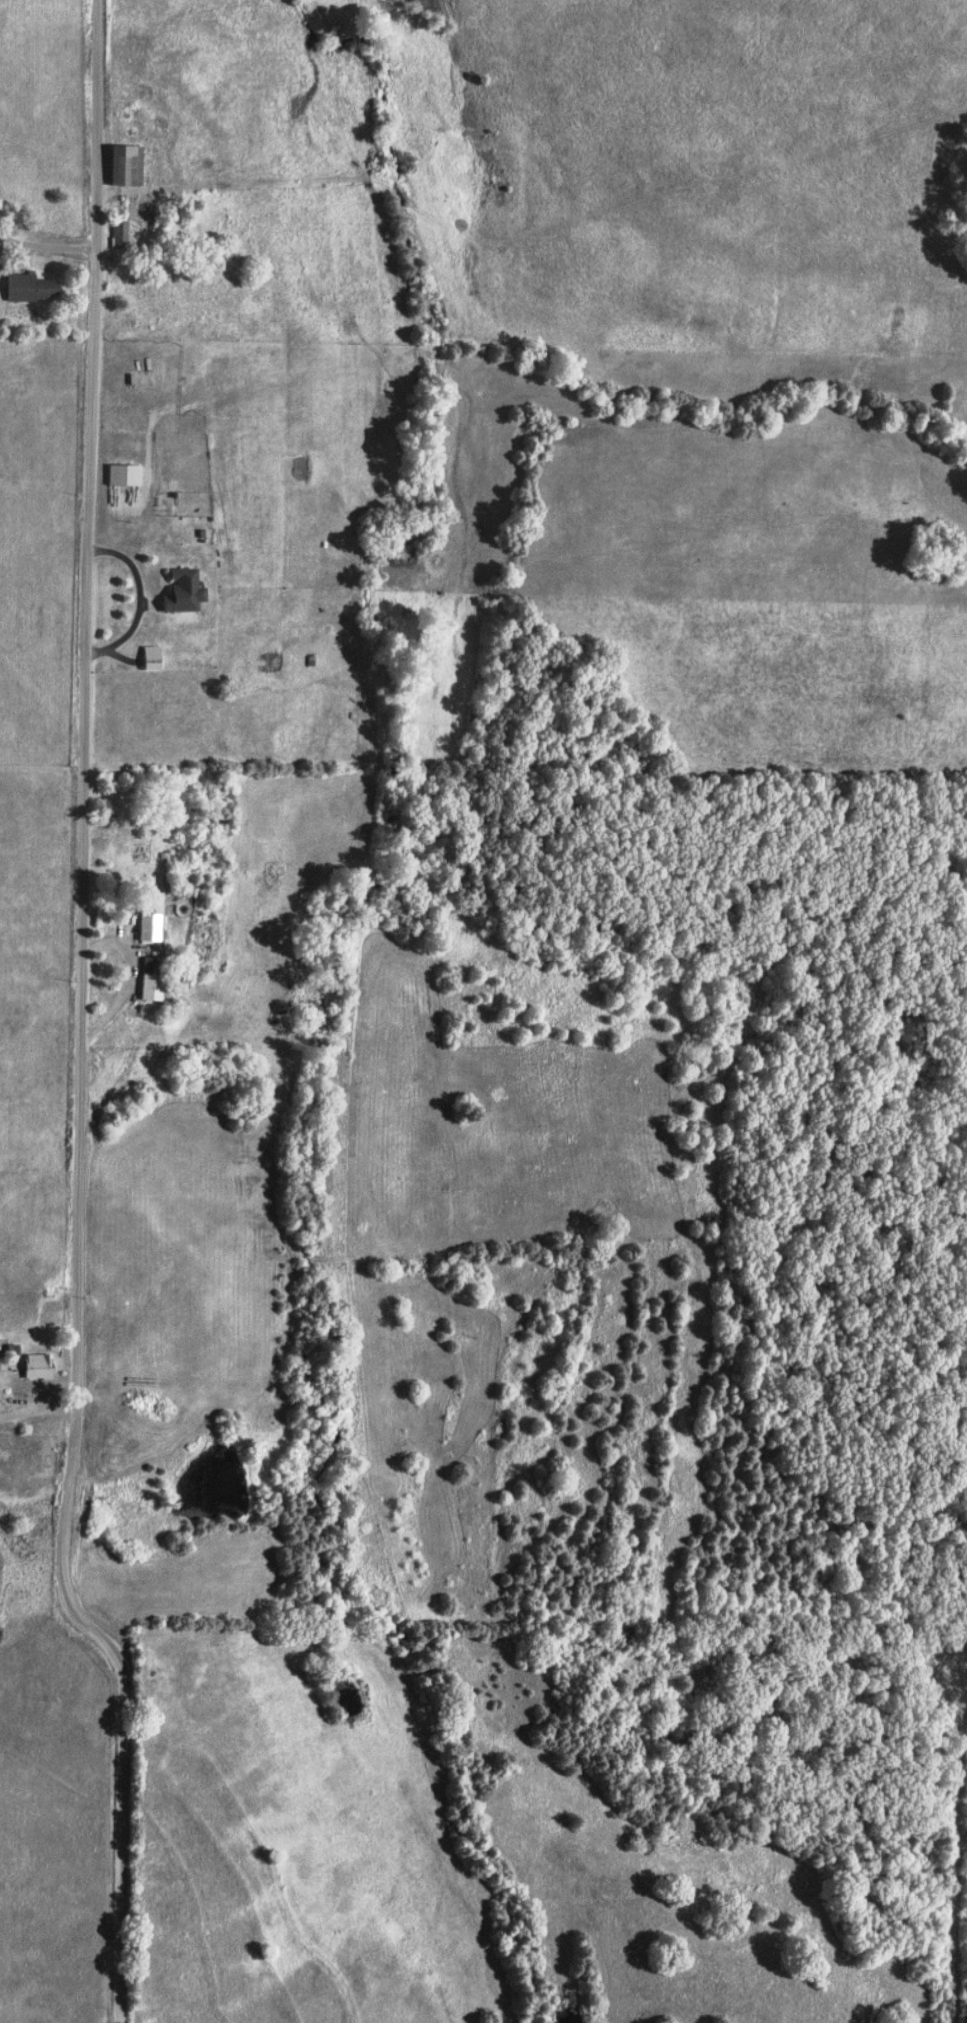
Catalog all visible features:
building: (130, 165)
building: (125, 235)
road: (52, 247)
building: (35, 288)
building: (129, 476)
building: (188, 592)
building: (156, 658)
building: (156, 919)
road: (139, 977)
building: (157, 988)
road: (88, 1026)
building: (42, 1366)
road: (41, 1409)

